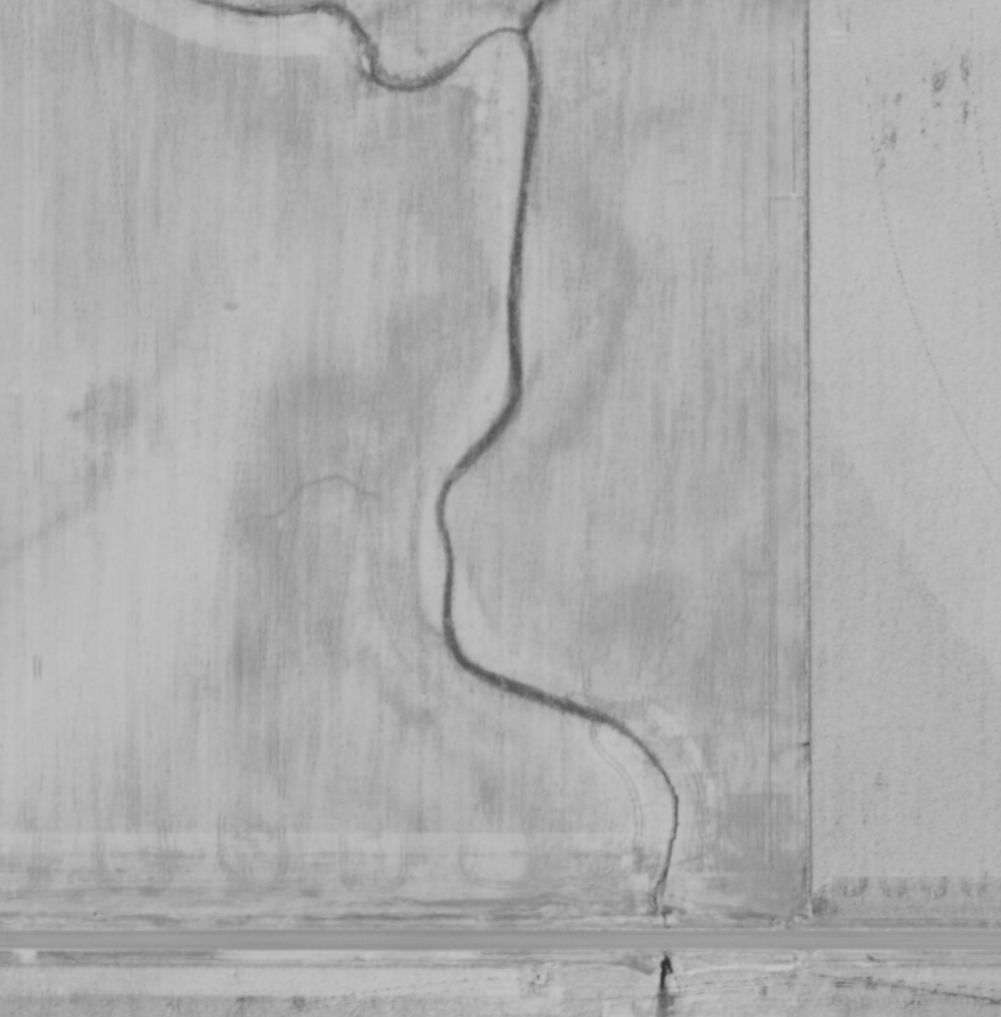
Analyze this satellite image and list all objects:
road: (500, 942)

